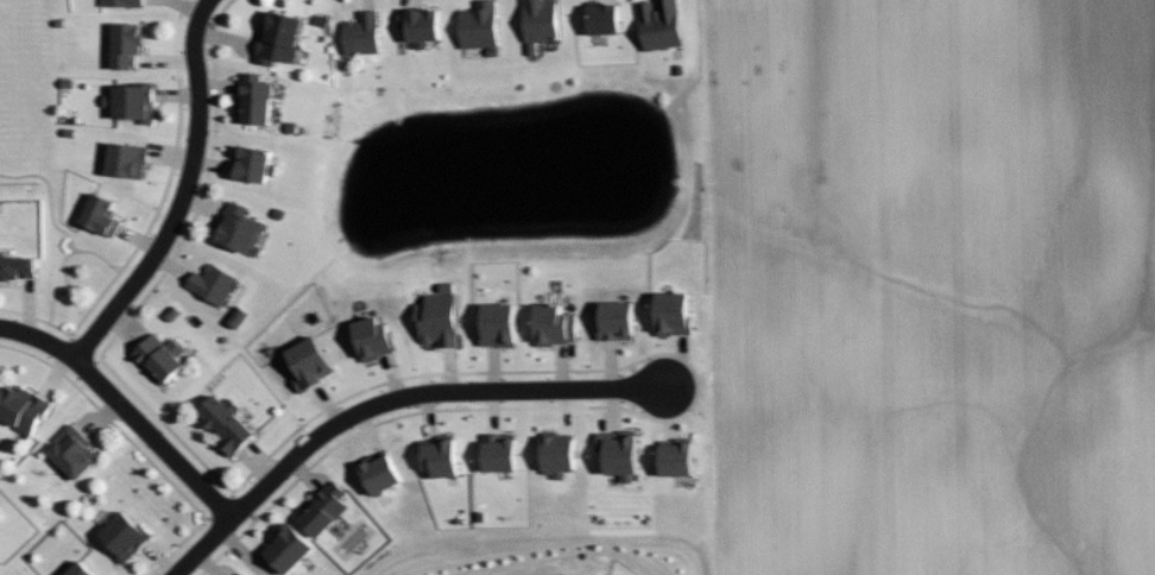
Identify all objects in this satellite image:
building: (119, 1)
building: (601, 18)
building: (537, 19)
building: (417, 23)
building: (475, 24)
building: (657, 24)
building: (359, 32)
building: (276, 37)
building: (124, 44)
road: (163, 59)
park: (20, 93)
building: (131, 100)
building: (254, 101)
road: (177, 126)
road: (166, 158)
building: (124, 159)
building: (250, 162)
road: (179, 192)
road: (201, 194)
building: (97, 214)
building: (236, 228)
road: (63, 232)
road: (133, 238)
road: (96, 255)
road: (127, 259)
building: (14, 265)
building: (210, 282)
road: (94, 303)
building: (670, 312)
road: (24, 316)
building: (434, 318)
building: (613, 320)
building: (494, 323)
building: (550, 324)
road: (62, 330)
building: (370, 337)
road: (83, 350)
building: (158, 356)
building: (305, 361)
road: (86, 371)
road: (74, 381)
road: (475, 388)
road: (323, 402)
building: (21, 406)
road: (122, 410)
building: (223, 422)
road: (135, 449)
building: (71, 451)
building: (618, 451)
building: (497, 453)
building: (556, 456)
building: (437, 457)
building: (675, 459)
building: (378, 474)
road: (239, 508)
building: (322, 510)
building: (121, 535)
building: (286, 549)
building: (77, 569)

